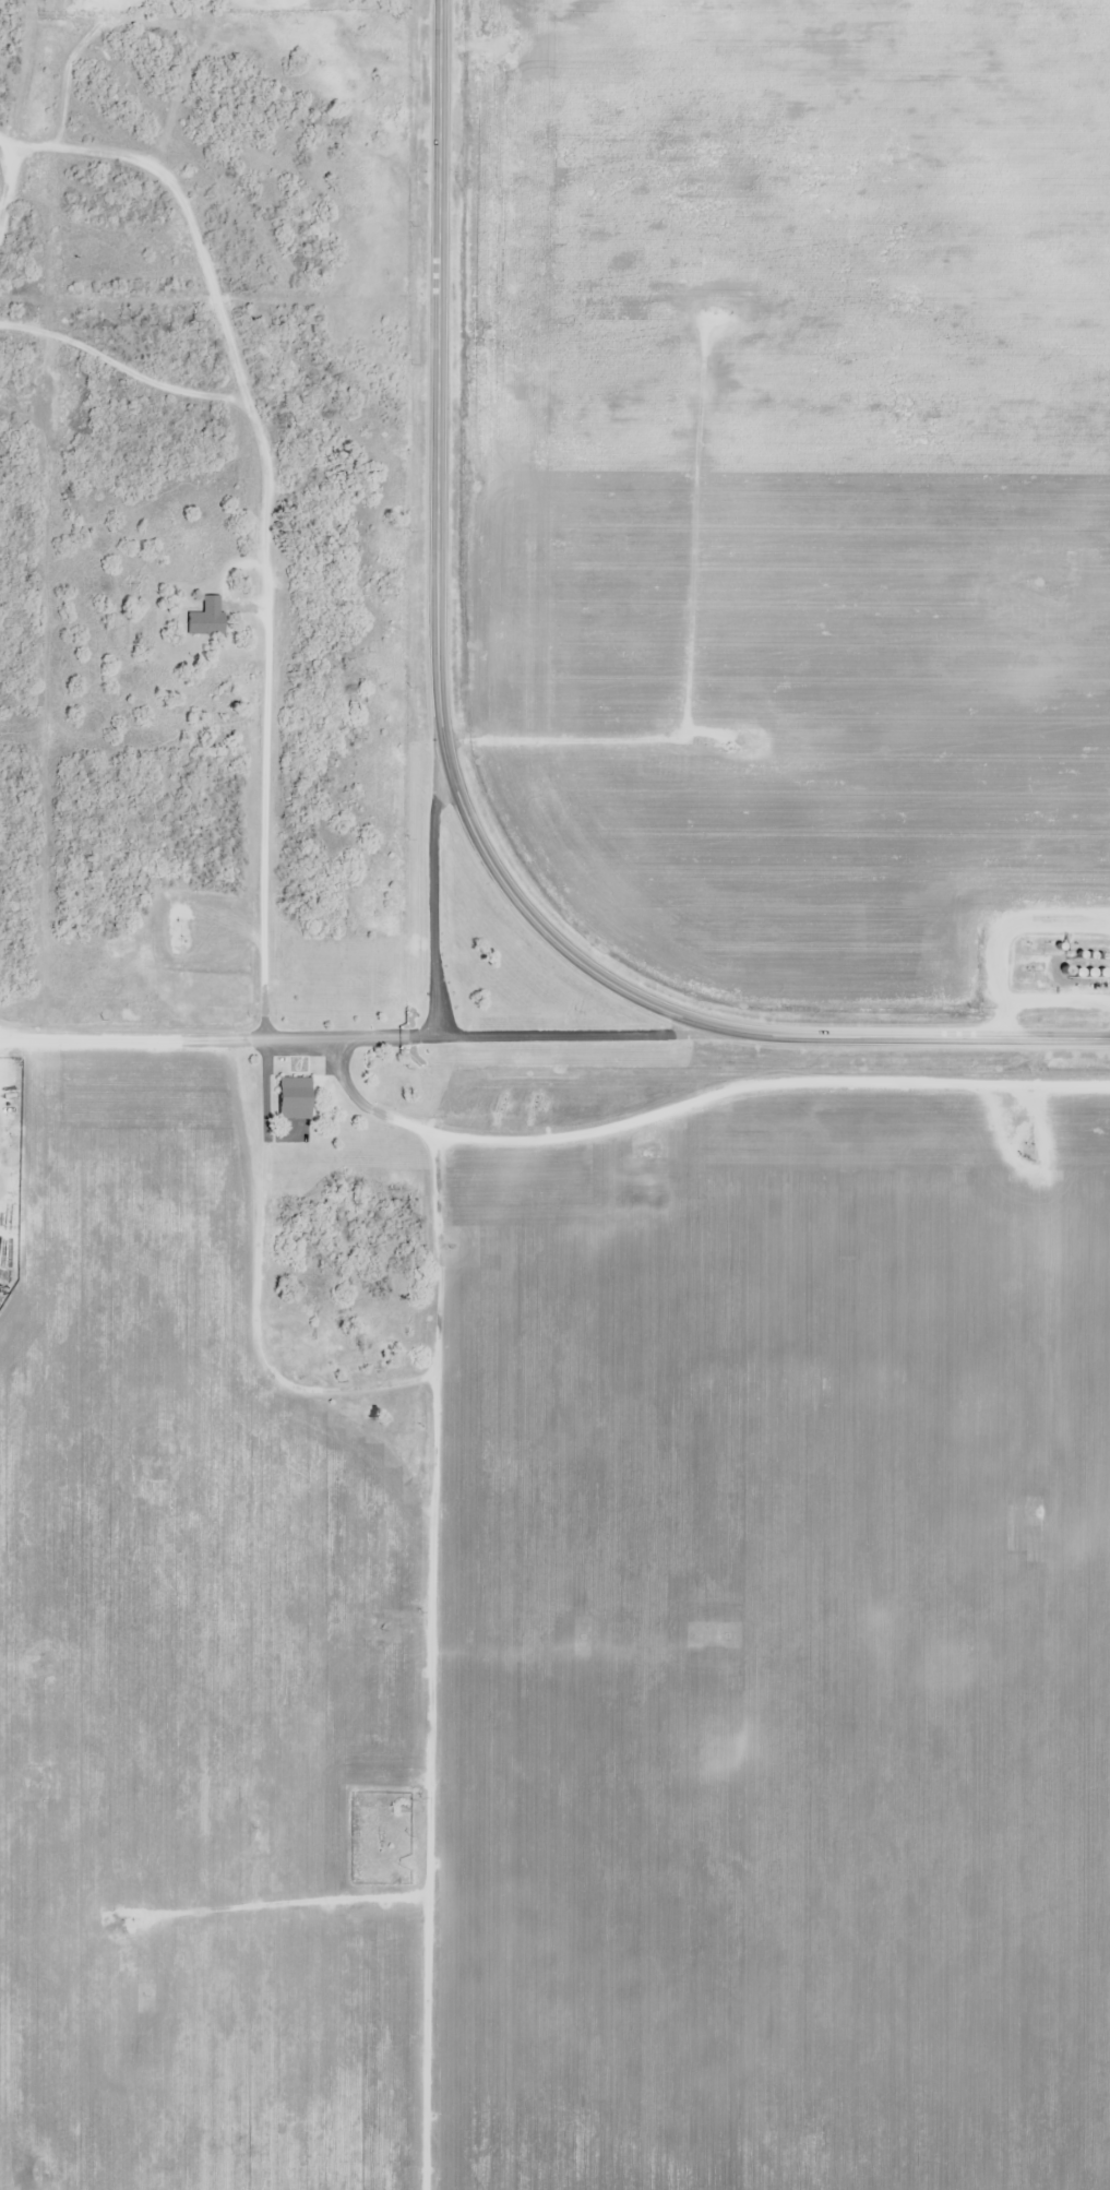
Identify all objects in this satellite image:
building: (206, 617)
road: (453, 775)
road: (428, 898)
road: (474, 1040)
road: (122, 1043)
building: (295, 1098)
building: (361, 1361)

